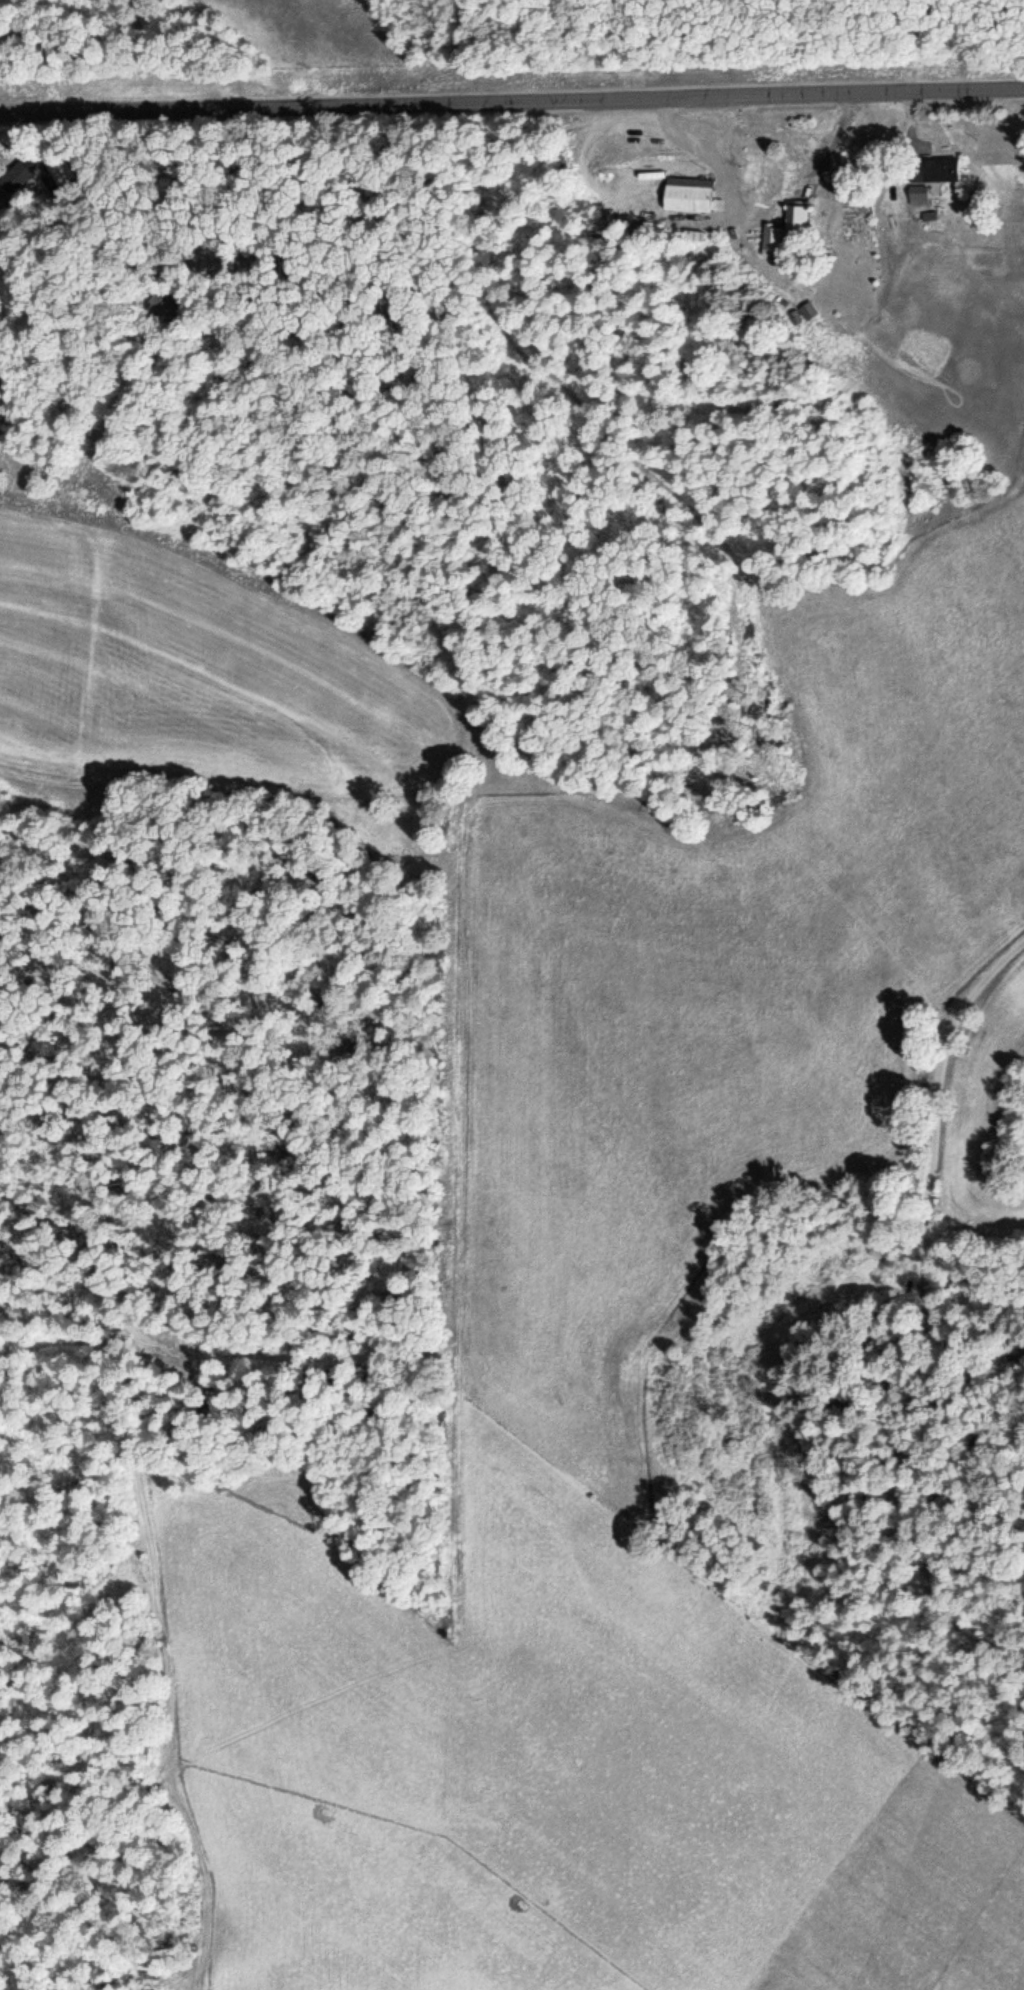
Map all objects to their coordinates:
road: (512, 97)
building: (53, 165)
building: (932, 168)
building: (15, 175)
building: (687, 192)
building: (917, 193)
building: (794, 216)
building: (161, 302)
road: (930, 1188)
road: (126, 1361)
road: (169, 1780)

